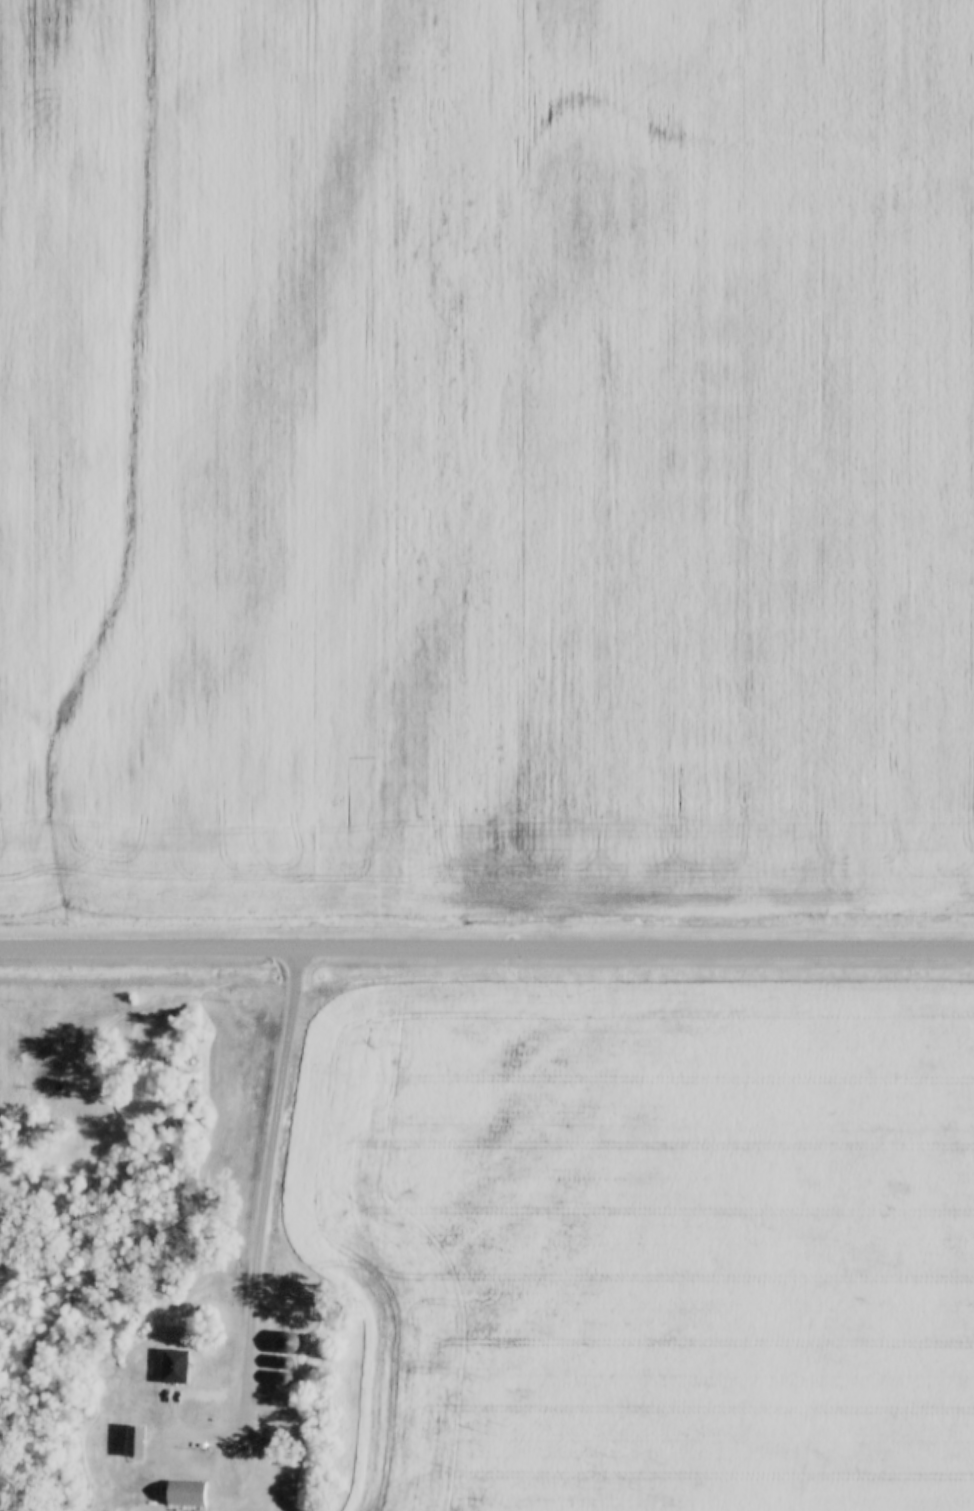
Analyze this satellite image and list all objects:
road: (486, 953)
road: (262, 1223)
building: (289, 1344)
building: (173, 1367)

